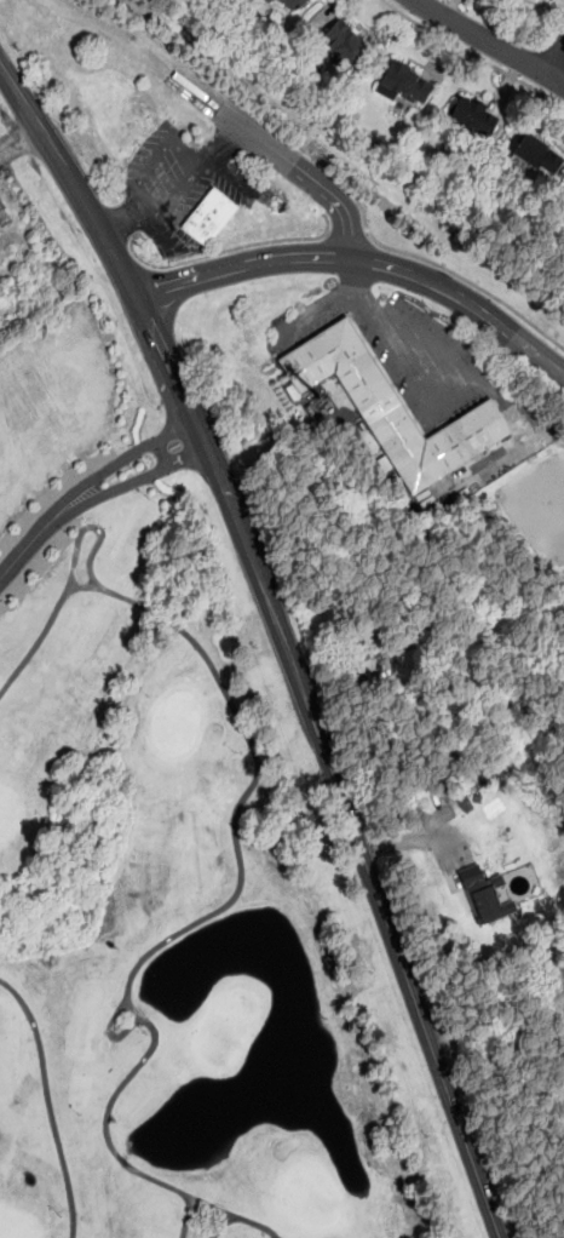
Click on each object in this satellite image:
building: (269, 0)
building: (293, 4)
road: (490, 42)
building: (341, 44)
road: (472, 53)
road: (145, 55)
road: (556, 59)
building: (404, 81)
road: (18, 97)
building: (473, 116)
road: (18, 134)
building: (537, 153)
road: (143, 173)
road: (300, 176)
road: (229, 177)
road: (175, 190)
road: (87, 210)
building: (208, 216)
road: (346, 233)
road: (221, 250)
road: (415, 256)
road: (274, 260)
road: (491, 311)
road: (385, 325)
building: (390, 406)
road: (88, 491)
road: (328, 762)
road: (416, 837)
park: (162, 870)
building: (484, 895)
road: (522, 1013)
road: (454, 1034)
road: (522, 1034)
road: (531, 1222)

